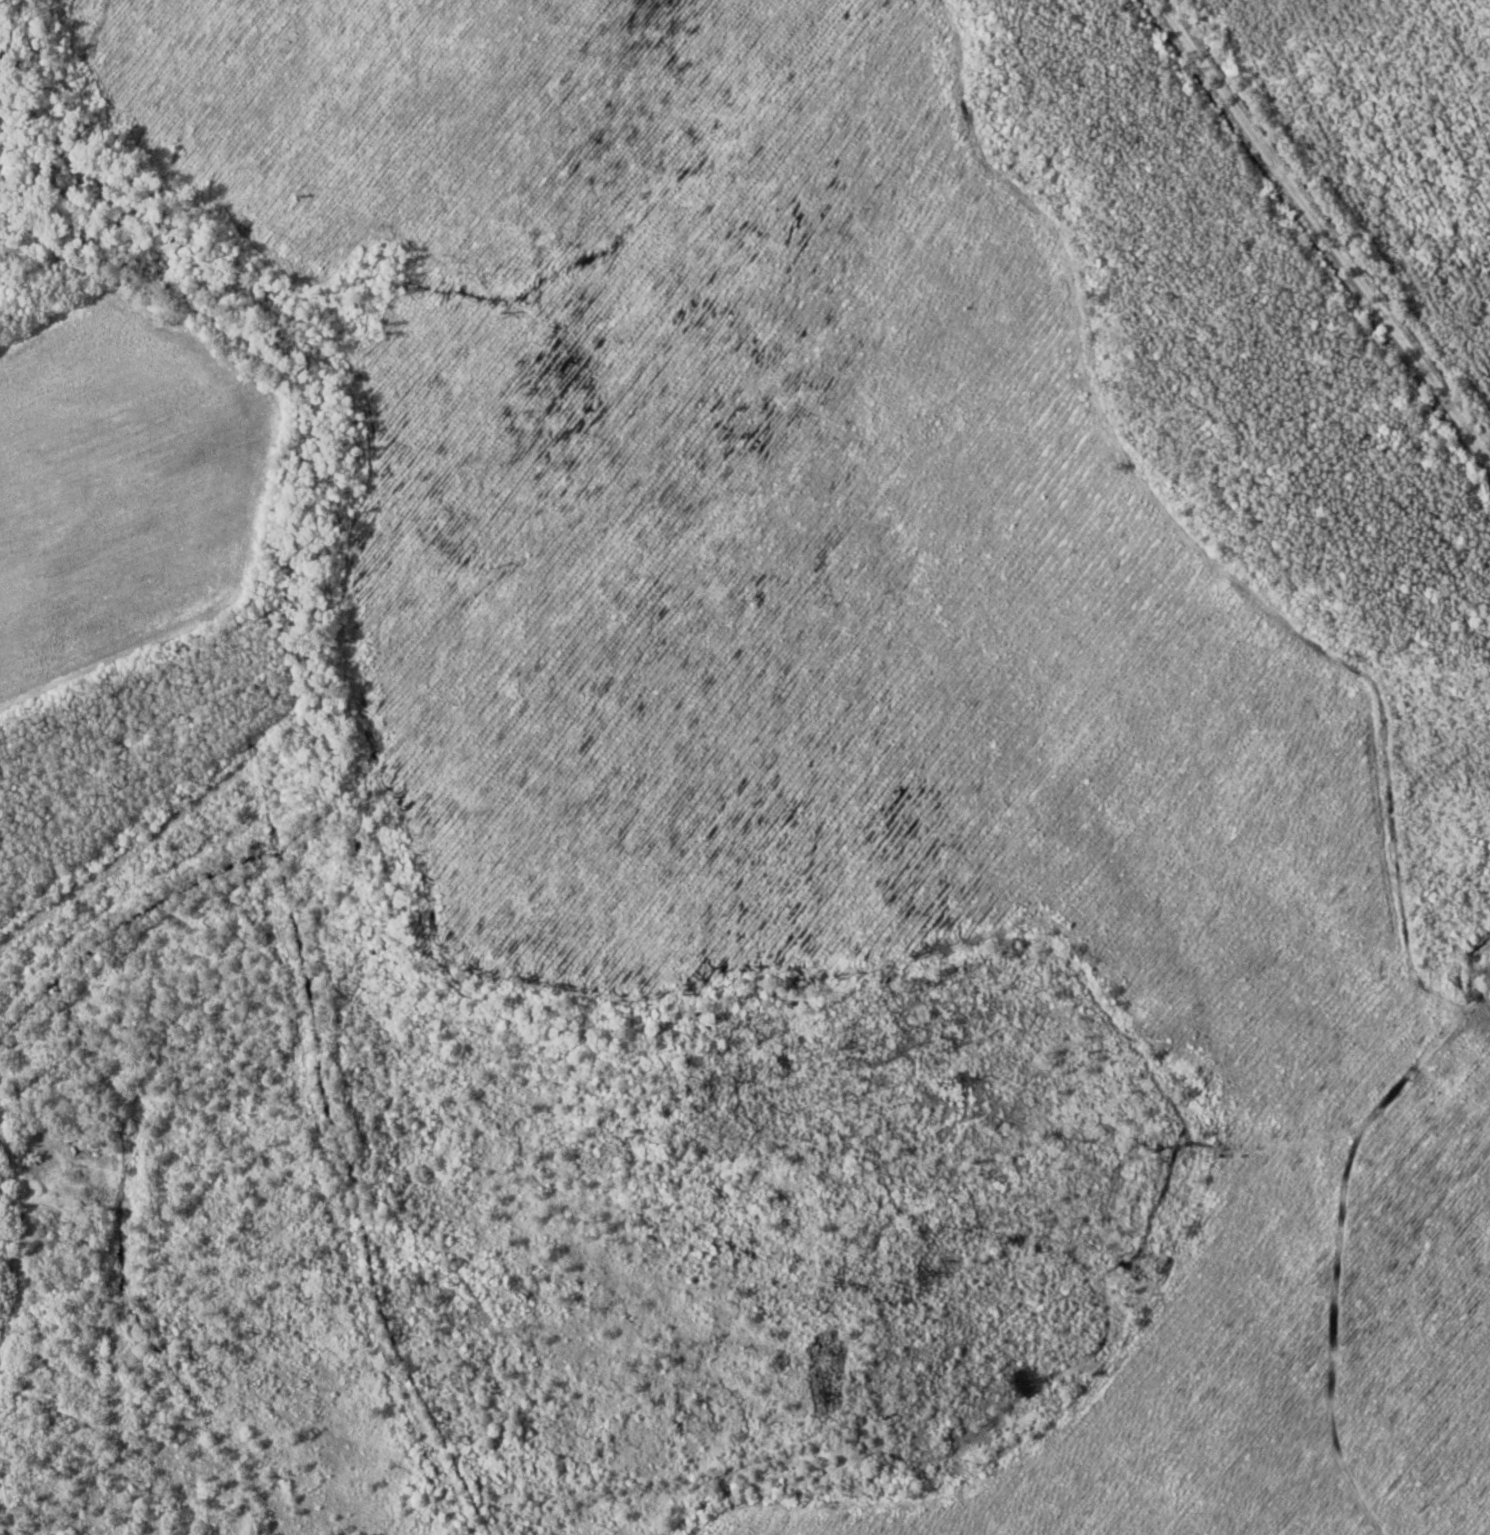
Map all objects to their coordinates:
road: (1324, 235)
road: (1486, 977)
road: (1486, 989)
road: (1360, 1122)
road: (1333, 1330)

